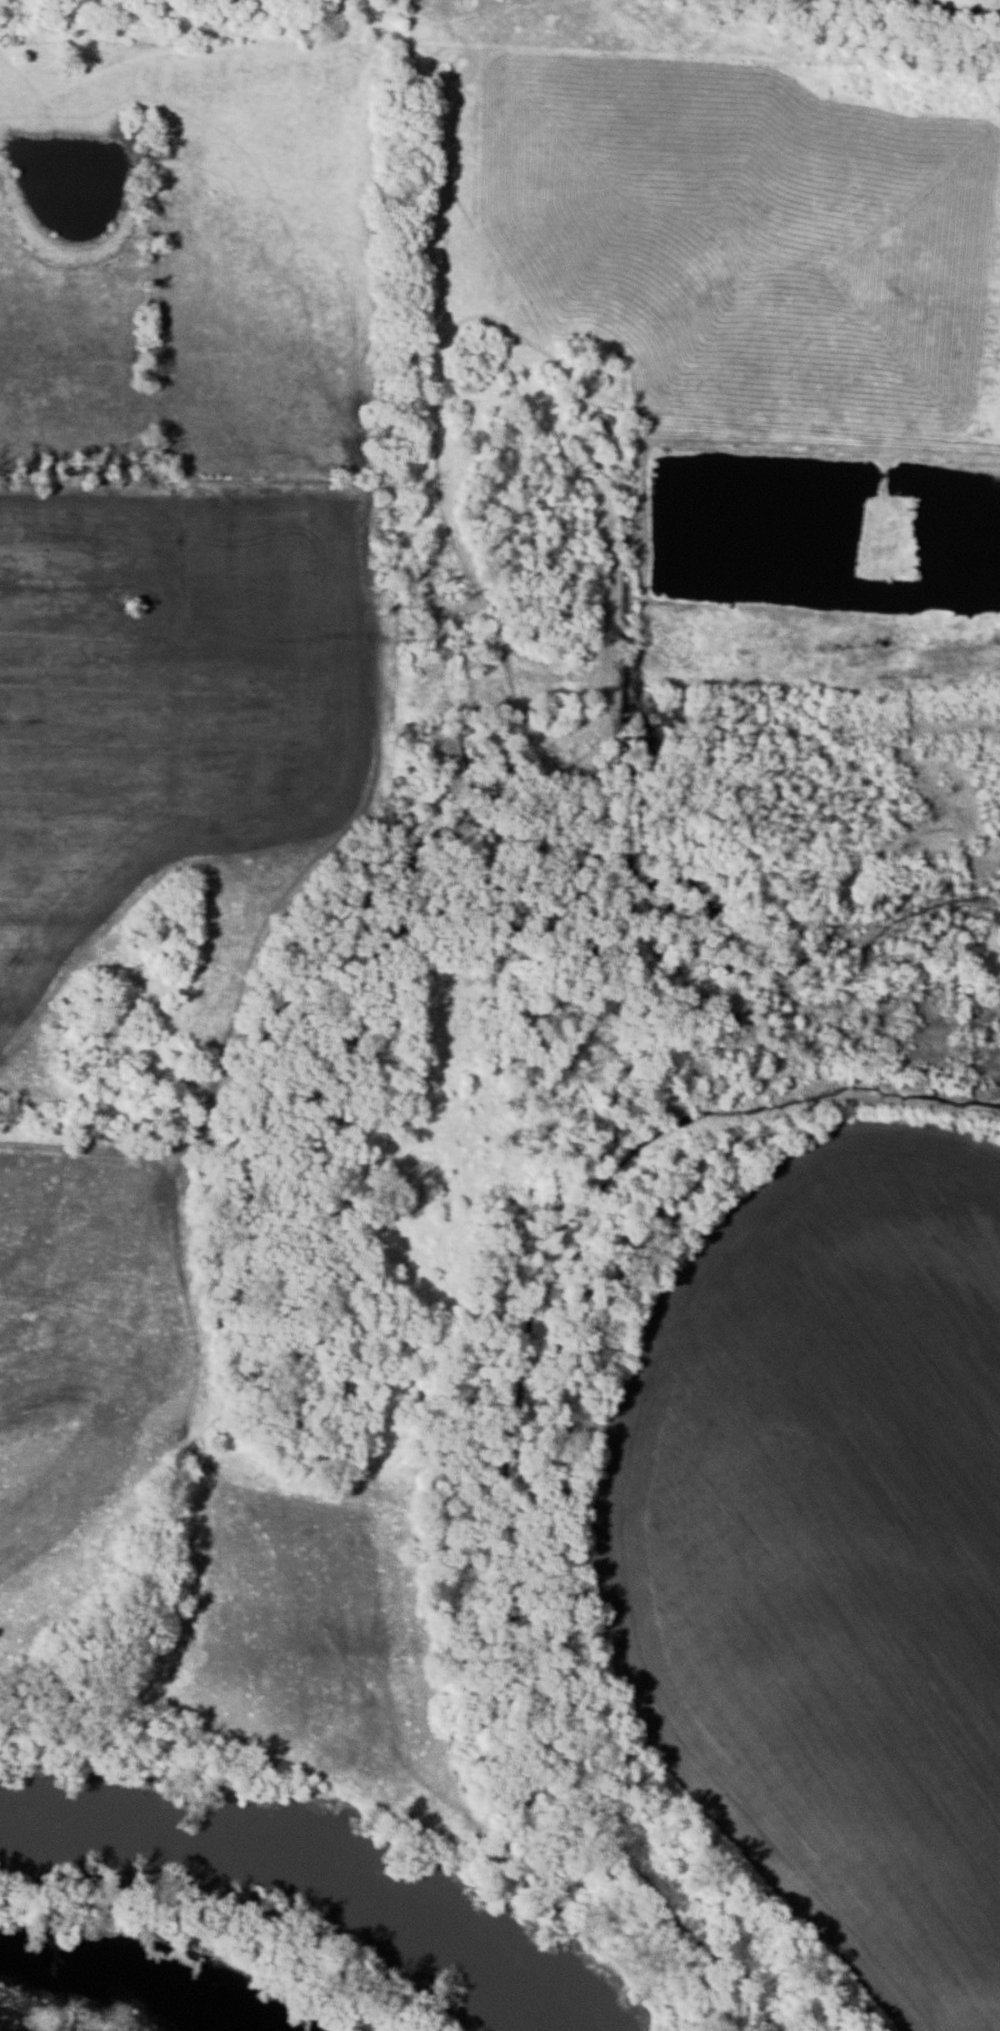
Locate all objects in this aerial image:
river: (238, 1853)
river: (499, 1989)

